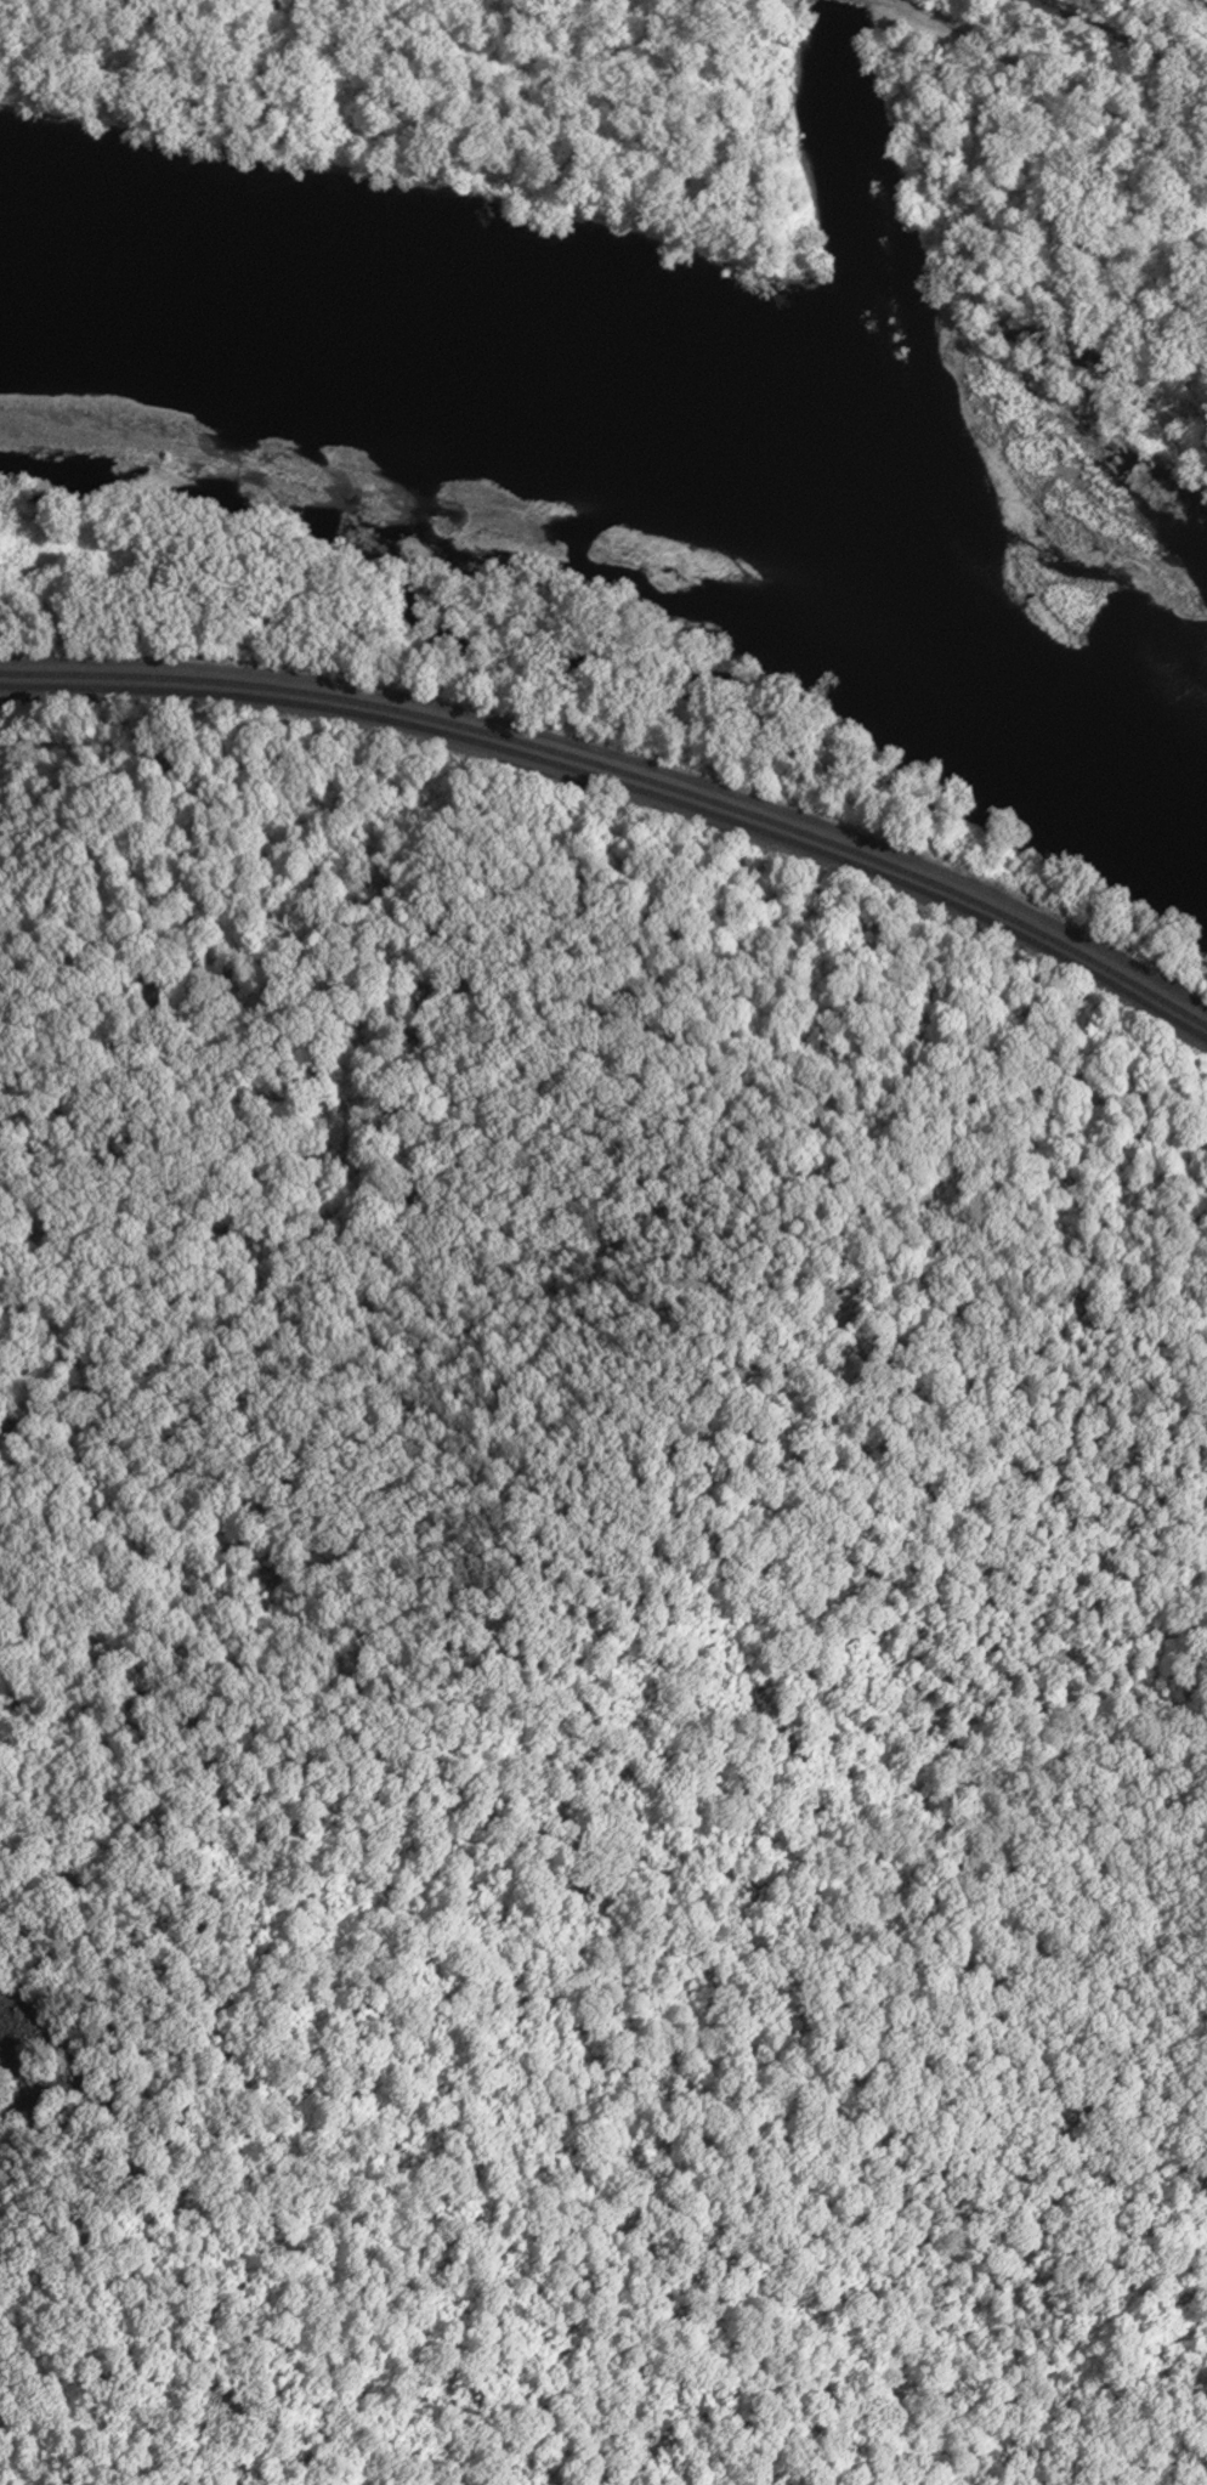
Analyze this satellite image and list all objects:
road: (143, 17)
road: (1120, 35)
park: (1133, 36)
road: (1050, 85)
river: (856, 155)
river: (661, 407)
river: (884, 430)
road: (624, 763)
railway: (625, 772)
railway: (625, 783)

